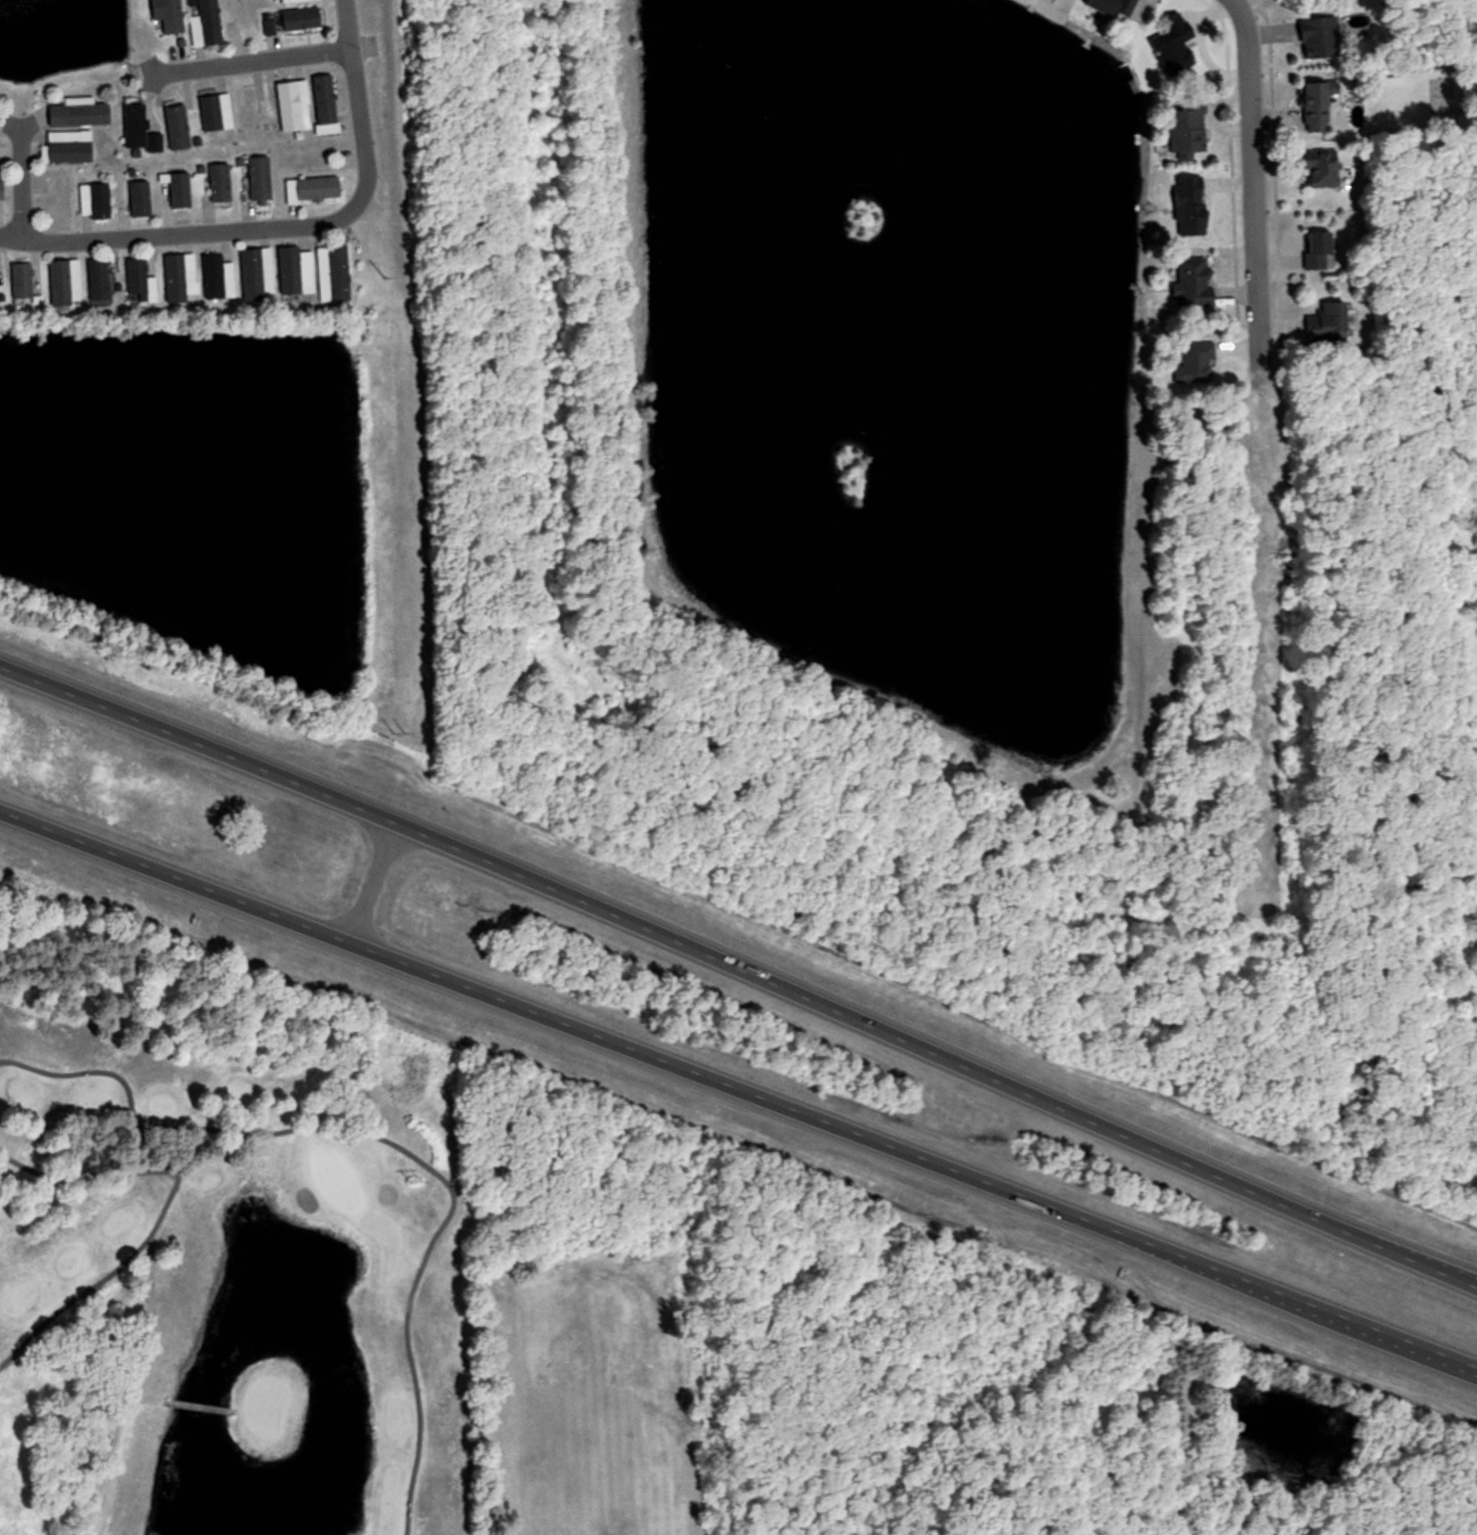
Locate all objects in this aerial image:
building: (297, 1)
building: (1113, 5)
building: (173, 16)
building: (247, 16)
building: (303, 18)
building: (206, 22)
building: (270, 23)
building: (1316, 38)
road: (251, 62)
building: (326, 99)
building: (292, 106)
building: (1317, 106)
building: (246, 107)
building: (216, 110)
building: (81, 114)
building: (178, 125)
building: (1192, 126)
building: (139, 128)
building: (71, 146)
building: (5, 156)
building: (1320, 167)
building: (260, 177)
road: (20, 184)
building: (218, 184)
building: (181, 189)
building: (314, 189)
road: (1254, 189)
building: (2, 190)
building: (141, 198)
building: (96, 200)
building: (1193, 206)
road: (284, 226)
building: (1316, 250)
building: (291, 269)
building: (340, 272)
power tower: (382, 272)
building: (137, 275)
building: (213, 275)
building: (255, 275)
building: (175, 278)
building: (22, 279)
building: (100, 280)
building: (1196, 281)
building: (61, 282)
building: (1324, 323)
power tower: (399, 728)
road: (738, 975)
road: (107, 1072)
road: (738, 1091)
power tower: (416, 1175)
park: (336, 1180)
road: (451, 1208)
road: (161, 1213)
park: (221, 1226)

